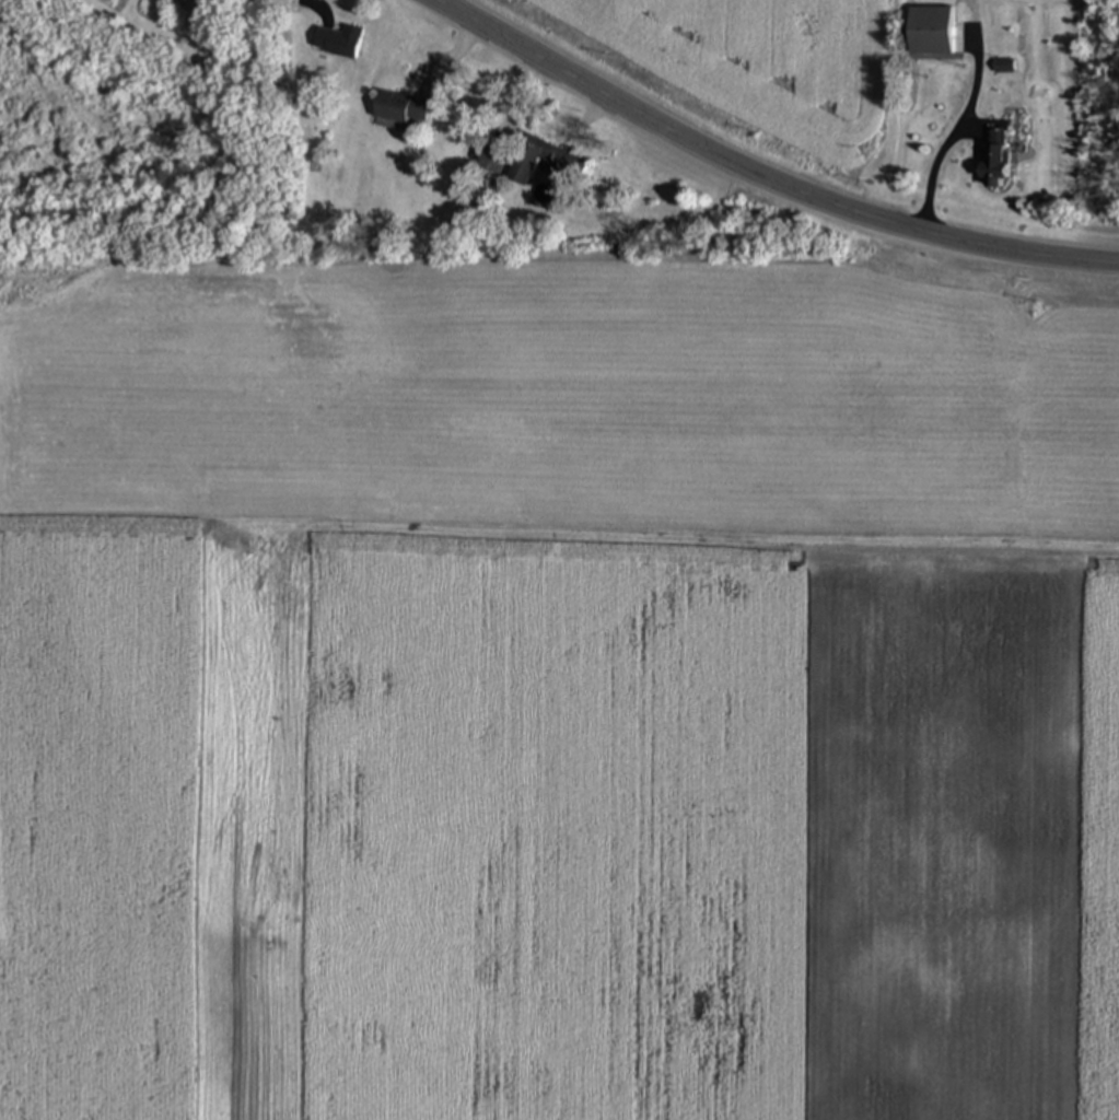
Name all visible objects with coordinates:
building: (930, 33)
building: (337, 44)
building: (1003, 68)
building: (399, 110)
road: (951, 131)
building: (993, 156)
building: (491, 161)
building: (541, 162)
road: (762, 171)

